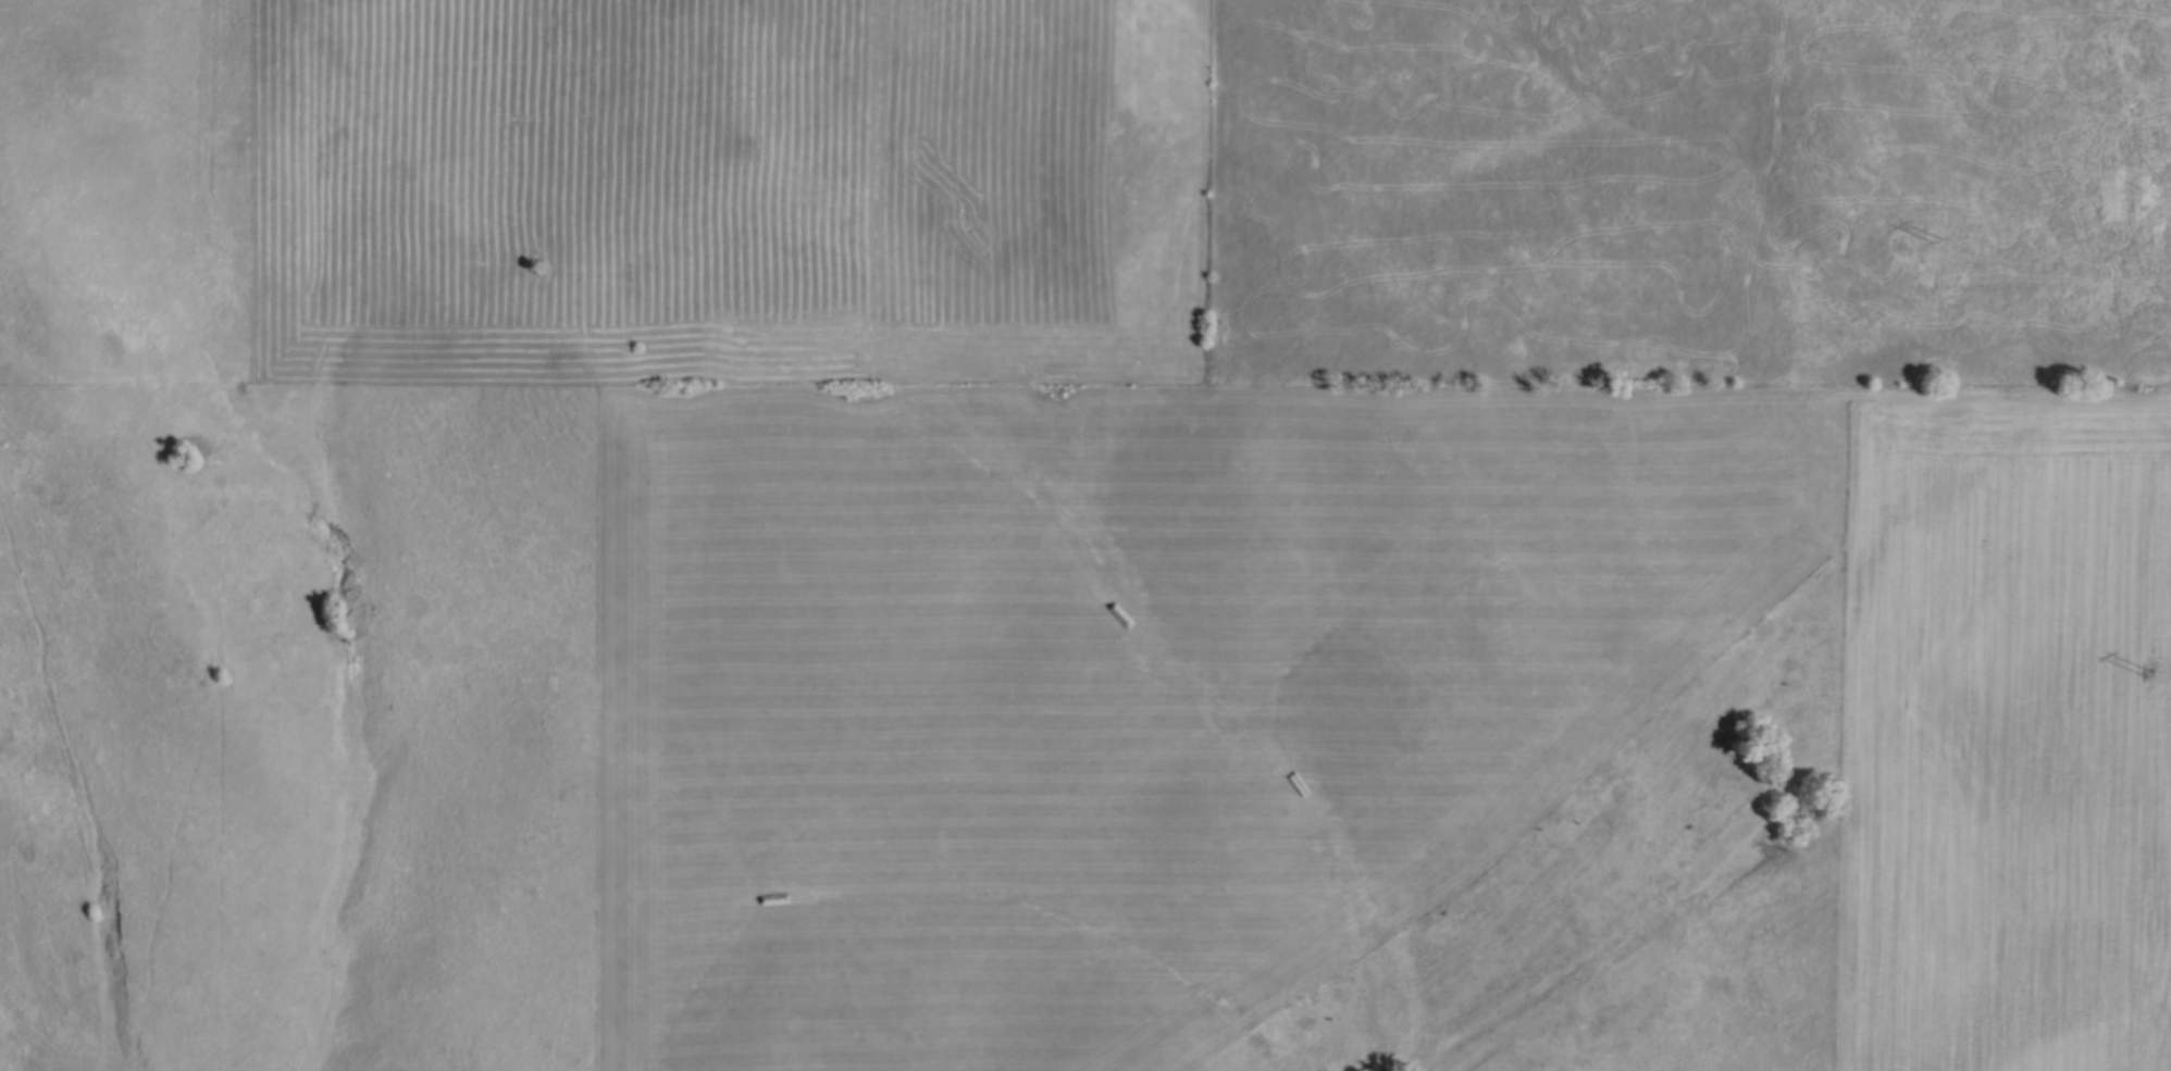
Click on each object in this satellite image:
power tower: (1937, 238)
power tower: (2150, 672)

